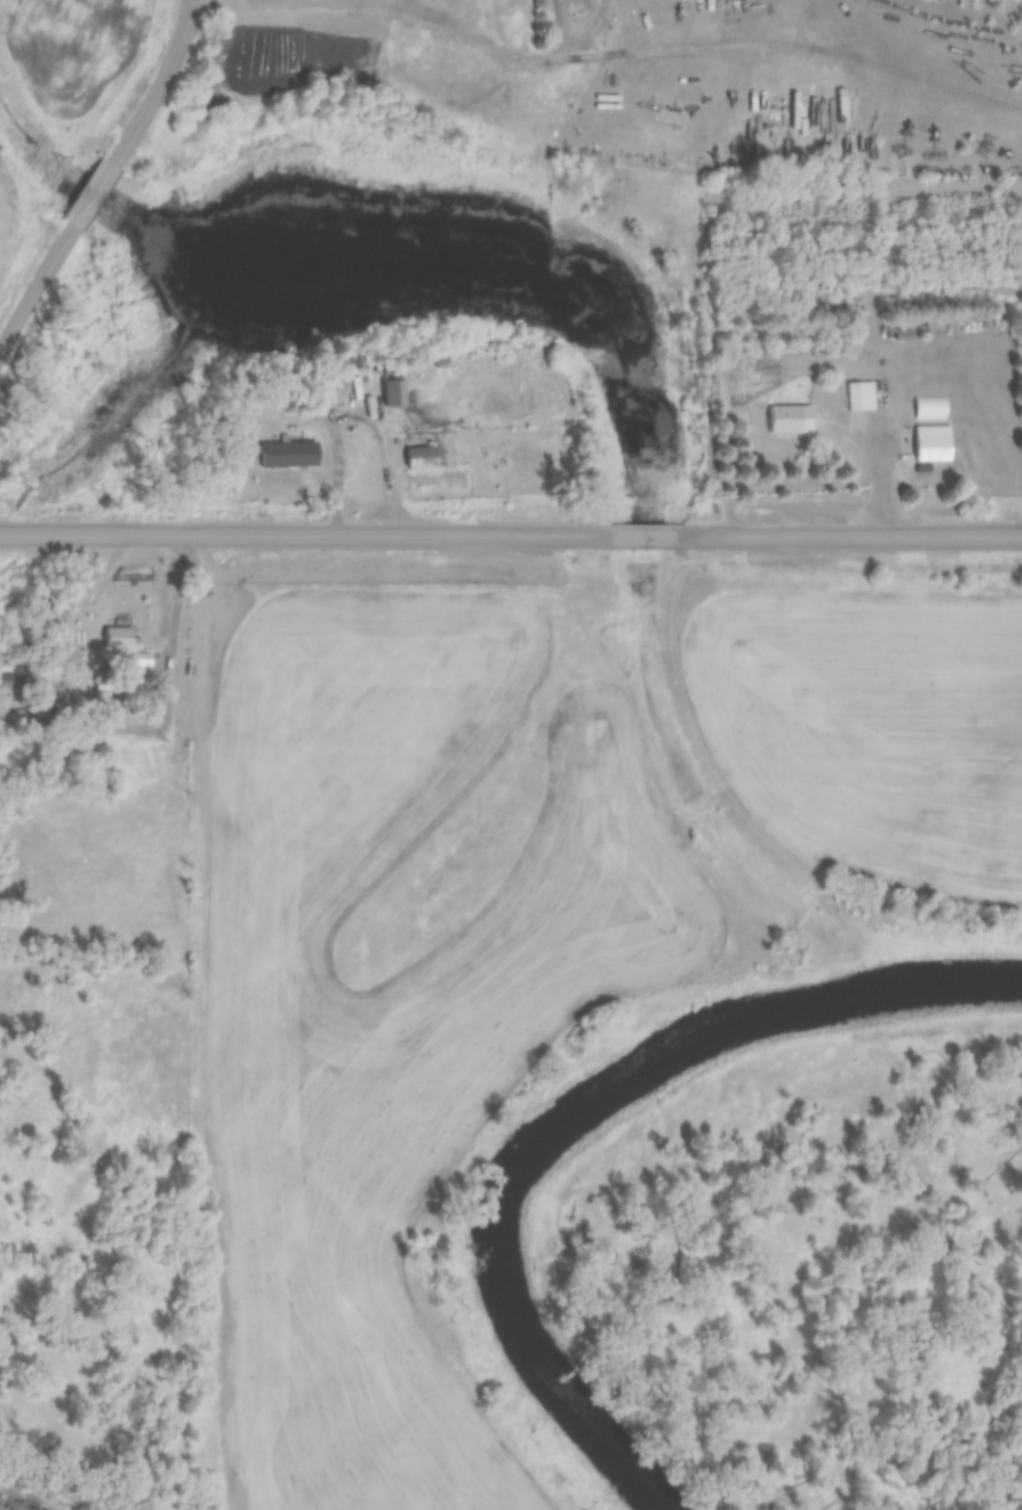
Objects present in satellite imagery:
road: (944, 71)
road: (158, 82)
road: (93, 190)
road: (36, 283)
building: (842, 307)
building: (904, 335)
building: (325, 389)
building: (393, 389)
building: (862, 403)
road: (355, 415)
building: (790, 420)
building: (934, 443)
building: (286, 451)
building: (419, 458)
road: (879, 469)
road: (295, 531)
road: (628, 532)
road: (843, 532)
building: (120, 636)
building: (8, 683)
building: (104, 685)
river: (581, 1117)

